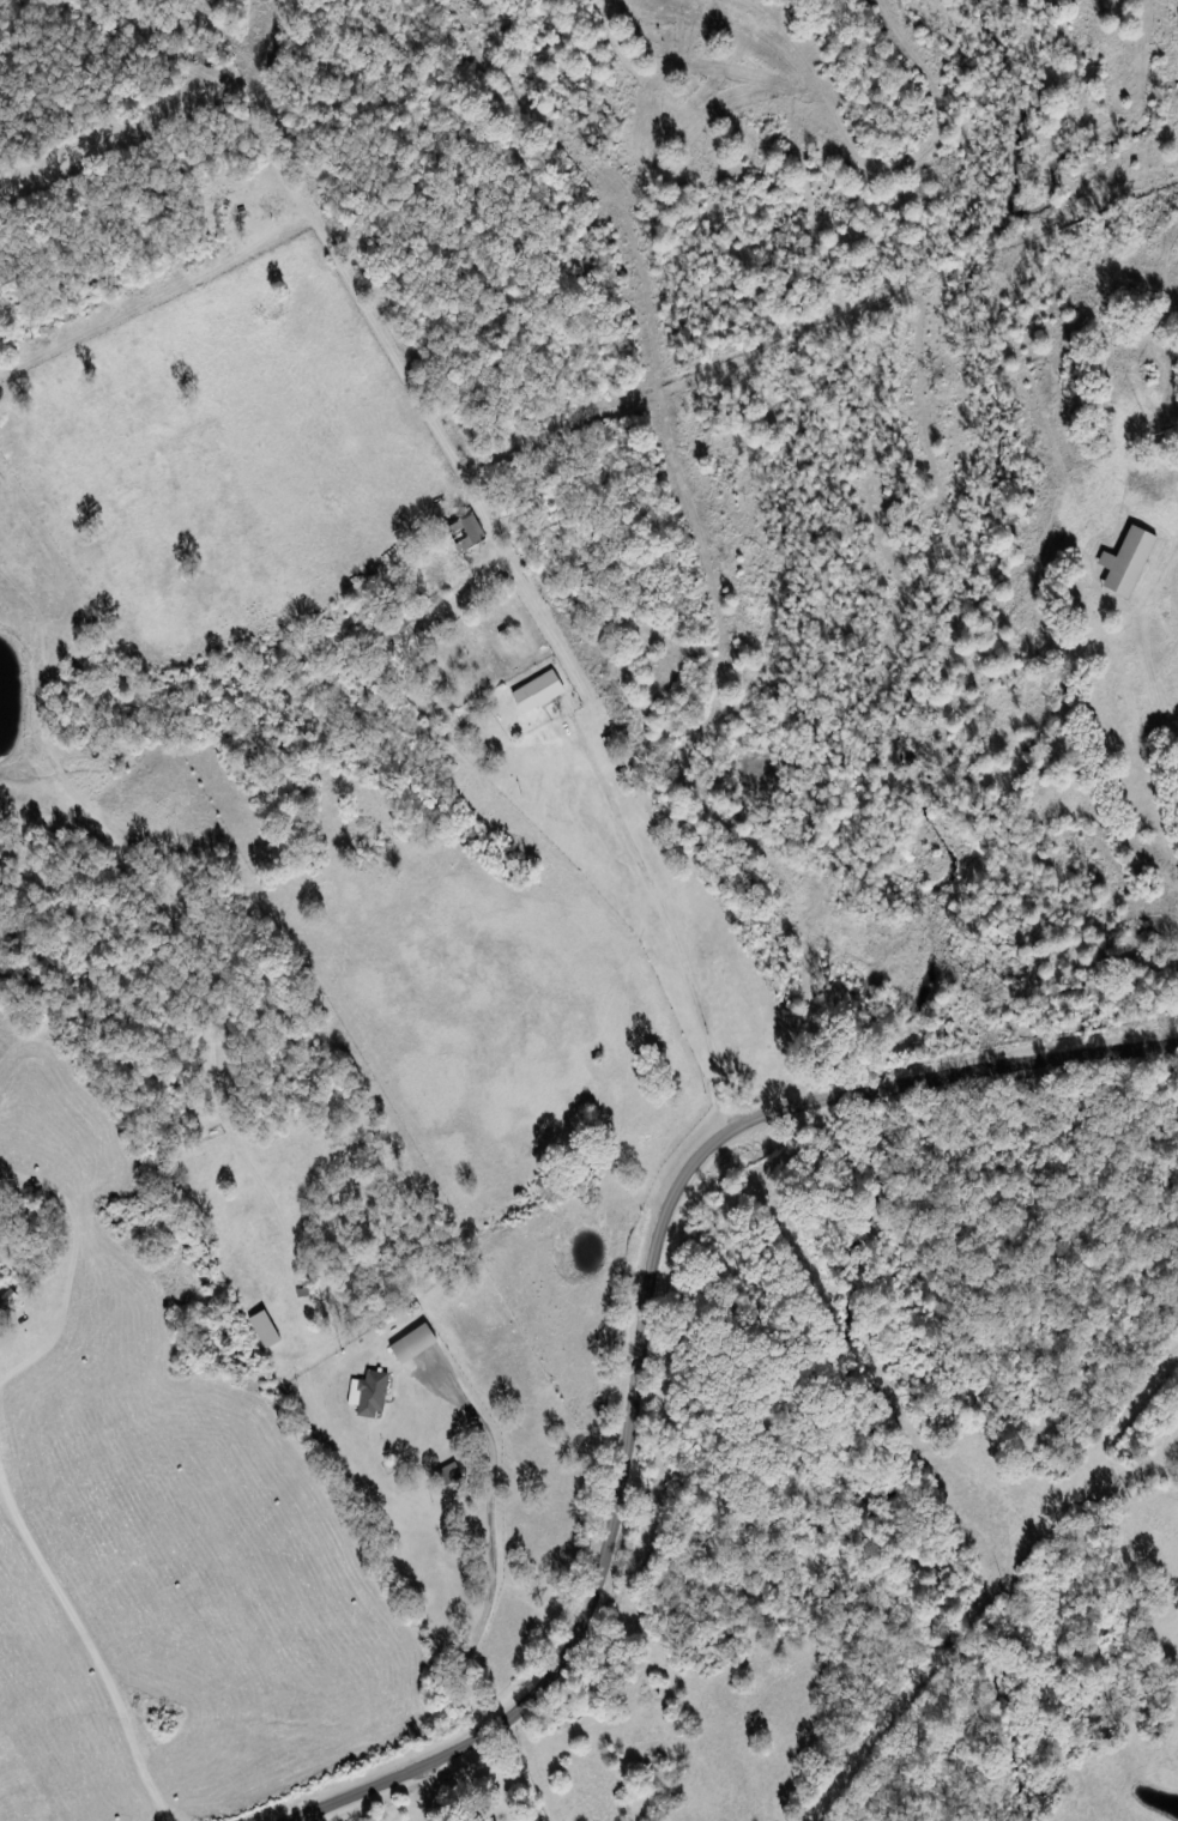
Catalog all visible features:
building: (470, 532)
building: (1131, 561)
building: (542, 691)
road: (642, 1327)
building: (267, 1329)
building: (417, 1343)
building: (371, 1393)
building: (451, 1474)

